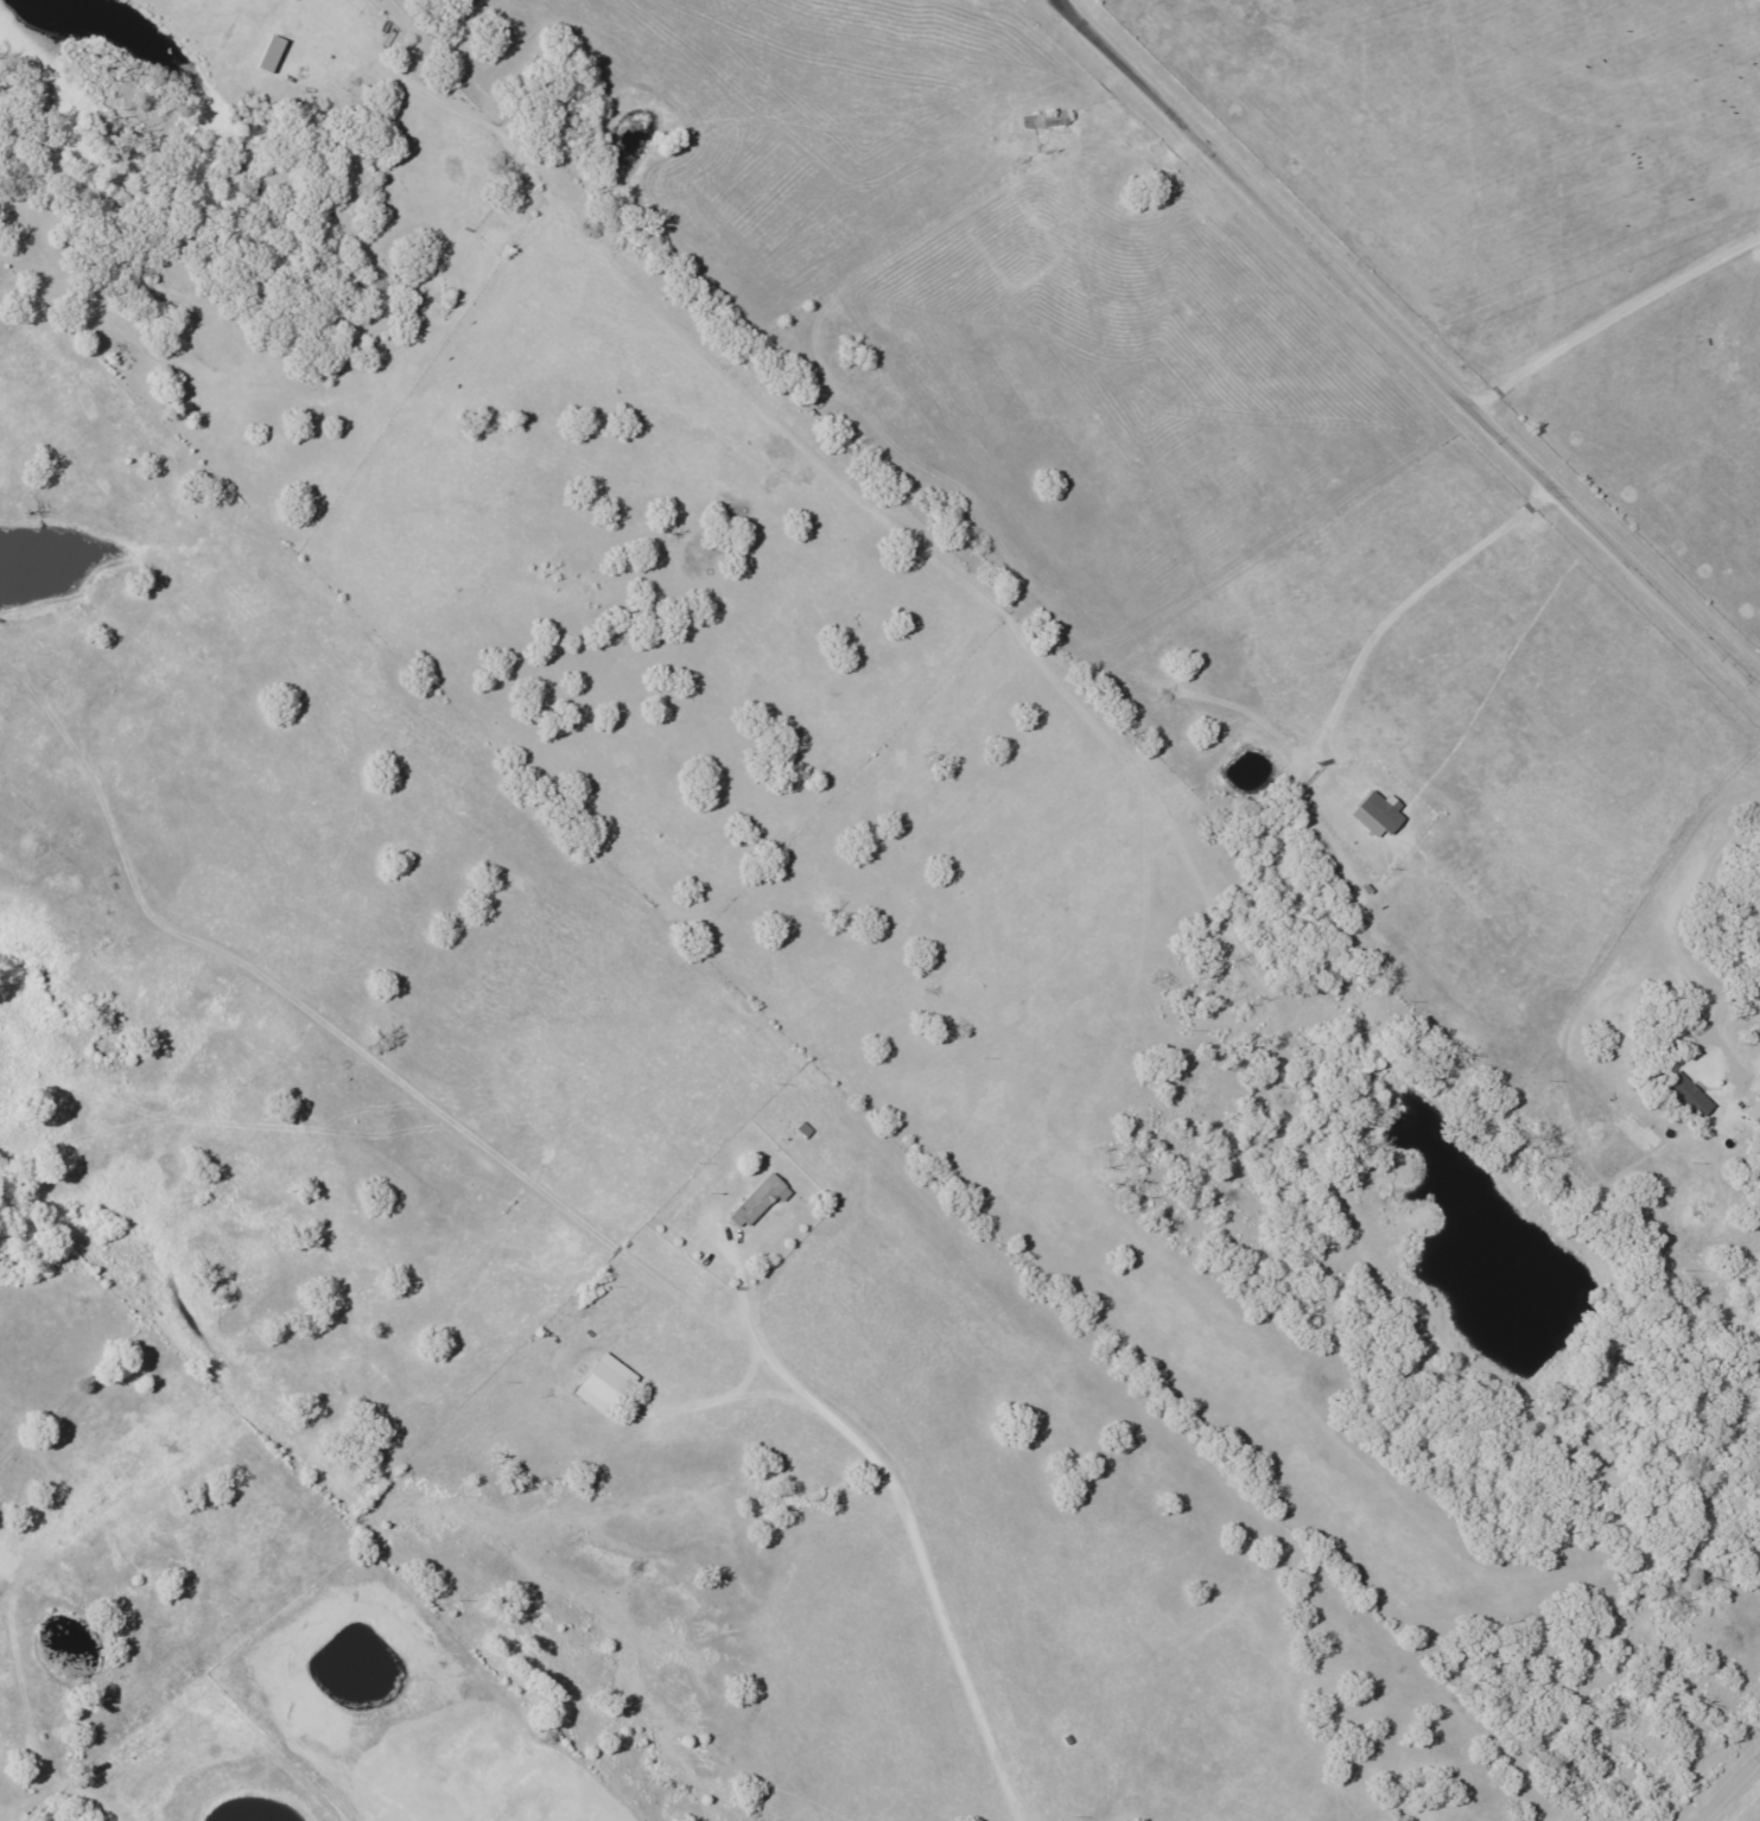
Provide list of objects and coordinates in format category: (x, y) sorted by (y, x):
road: (1421, 348)
building: (1372, 814)
building: (1684, 1096)
building: (1752, 1113)
building: (756, 1201)
road: (866, 1381)
building: (598, 1384)
road: (1733, 1791)

